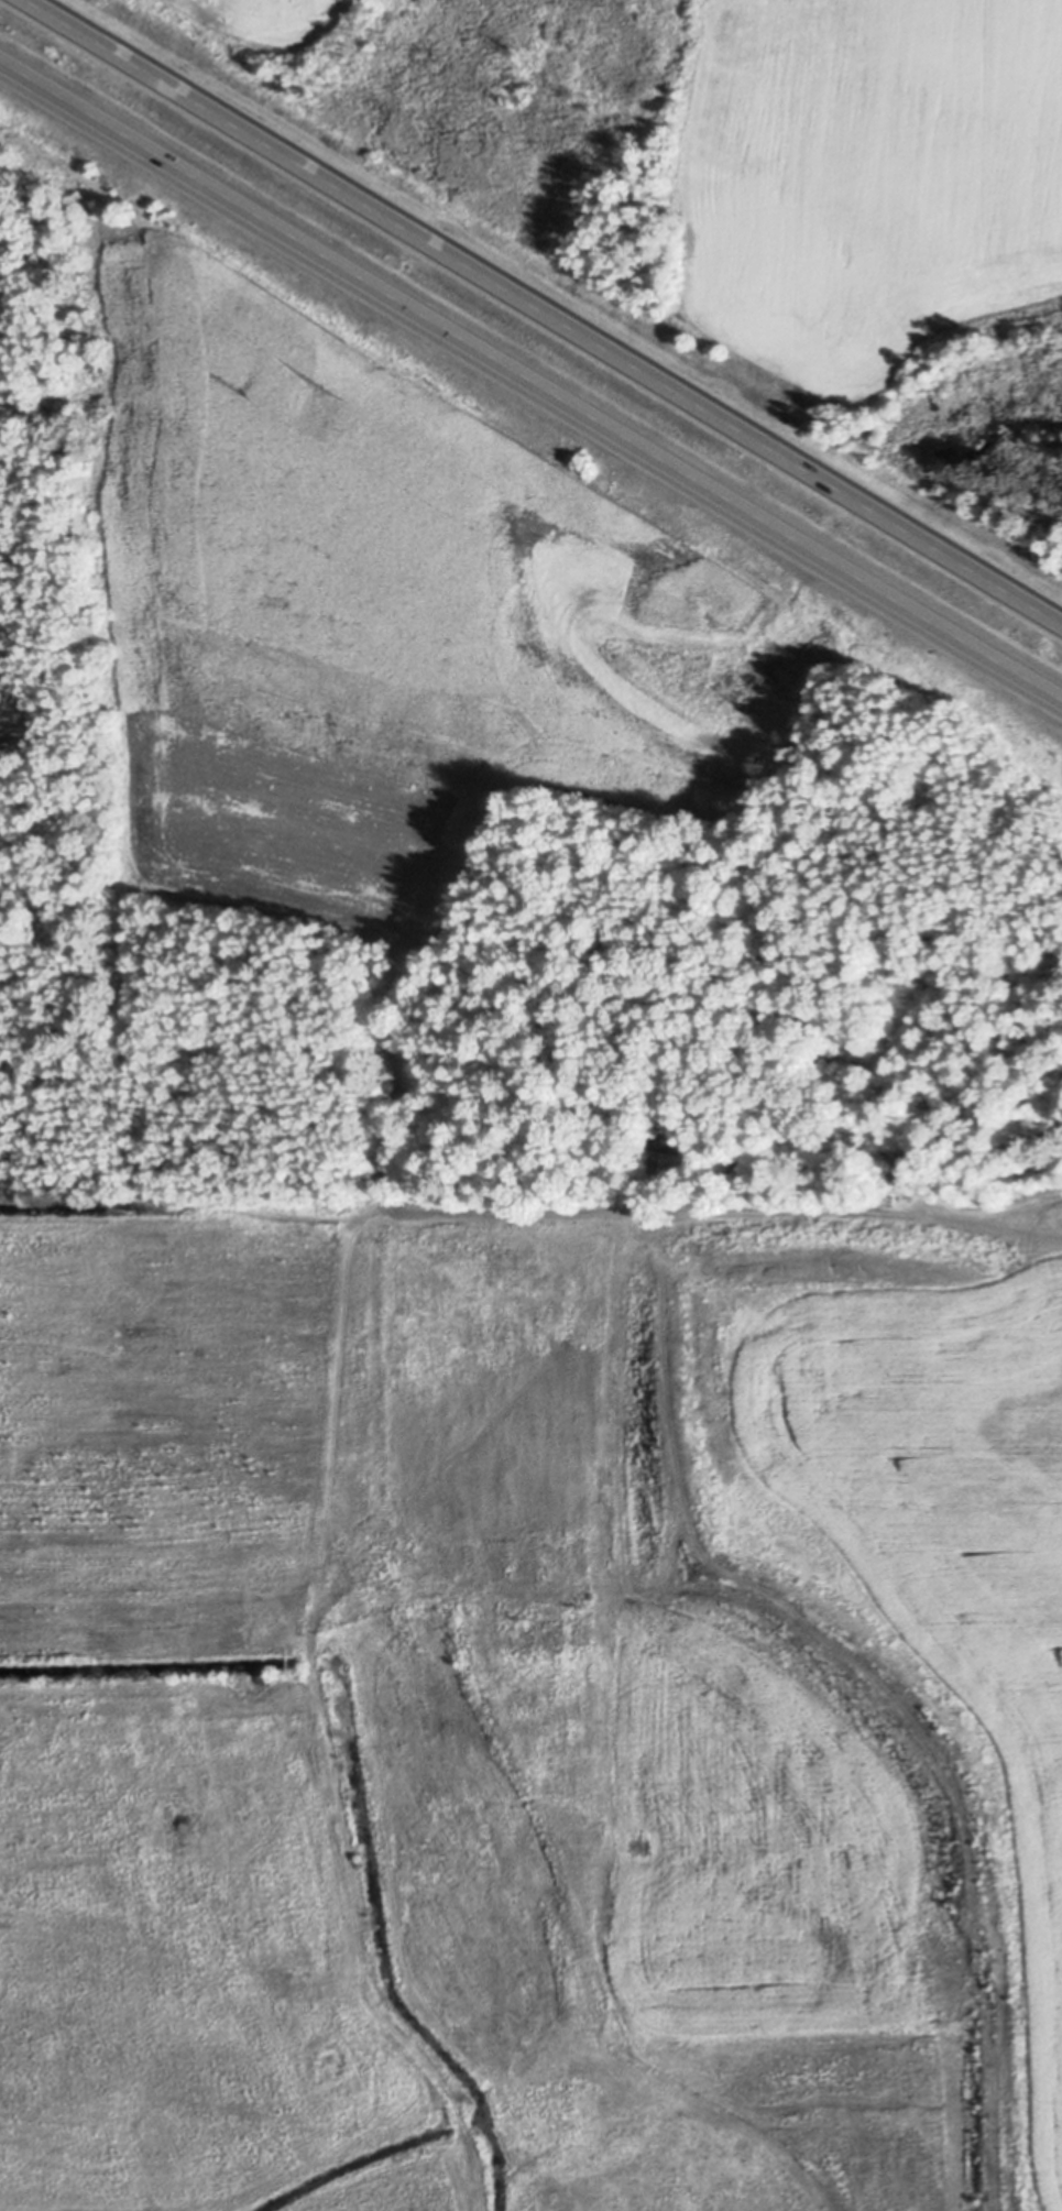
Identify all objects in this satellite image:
road: (544, 311)
road: (530, 382)
building: (667, 1141)
road: (307, 1372)

